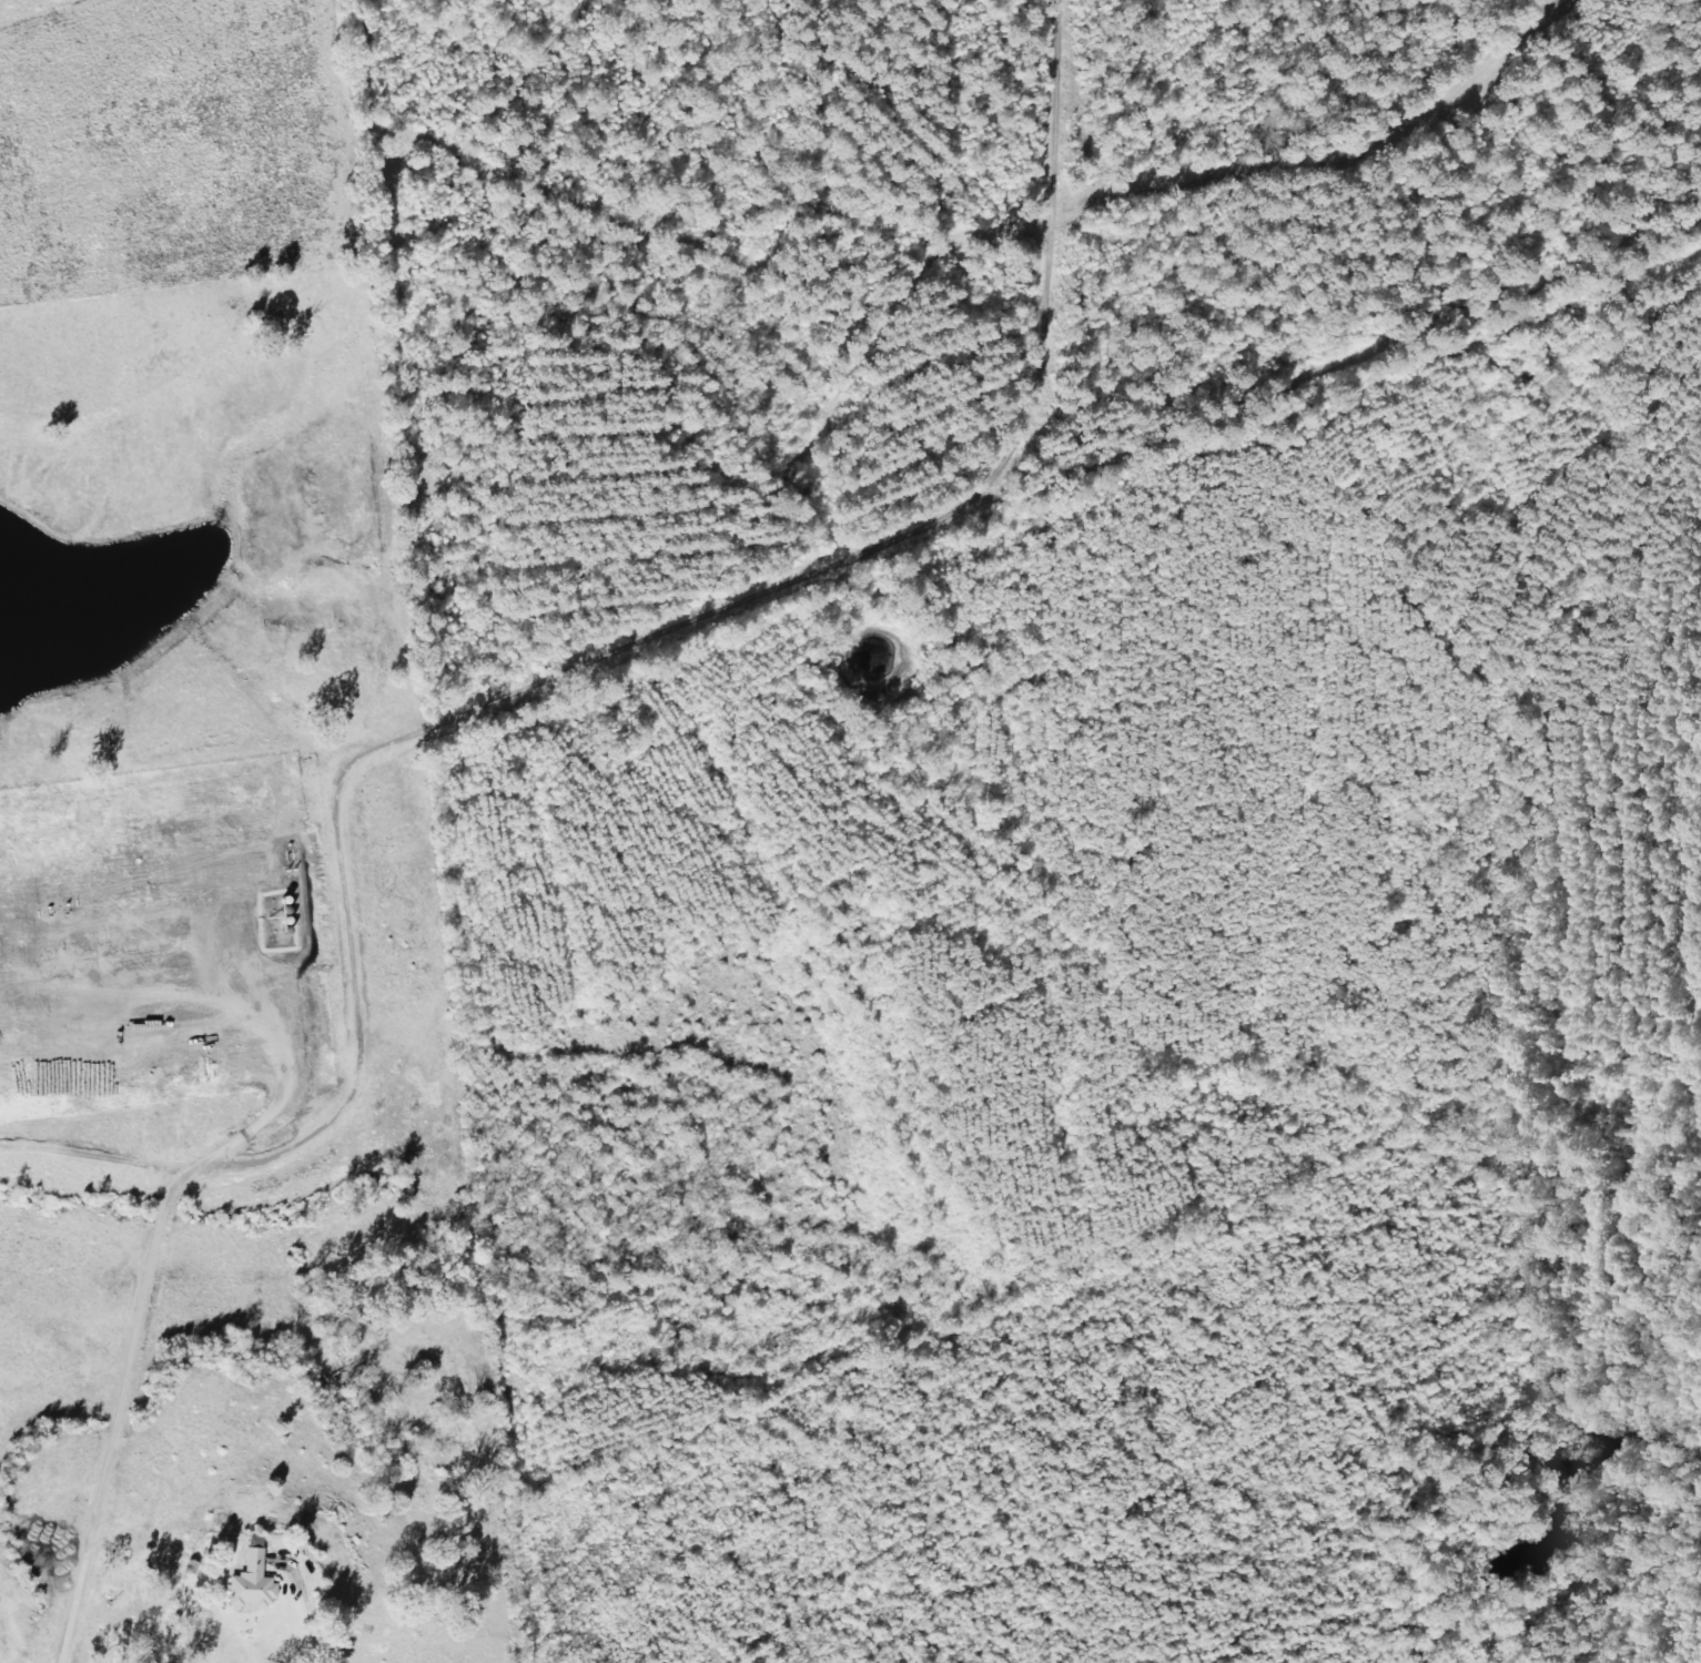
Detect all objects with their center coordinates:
building: (256, 1582)

